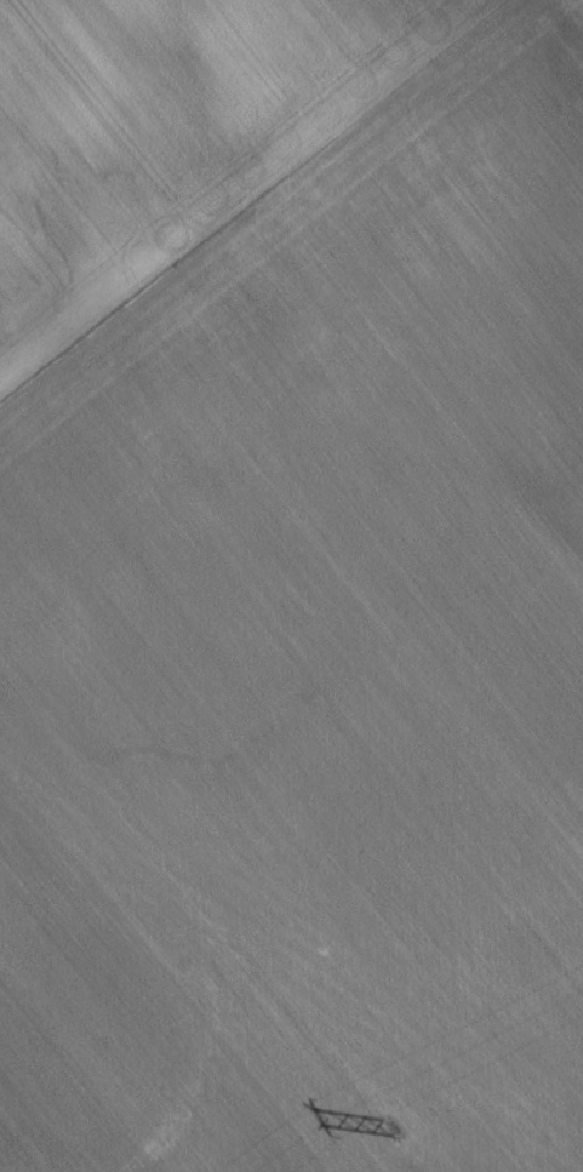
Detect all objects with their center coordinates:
power tower: (394, 1137)

